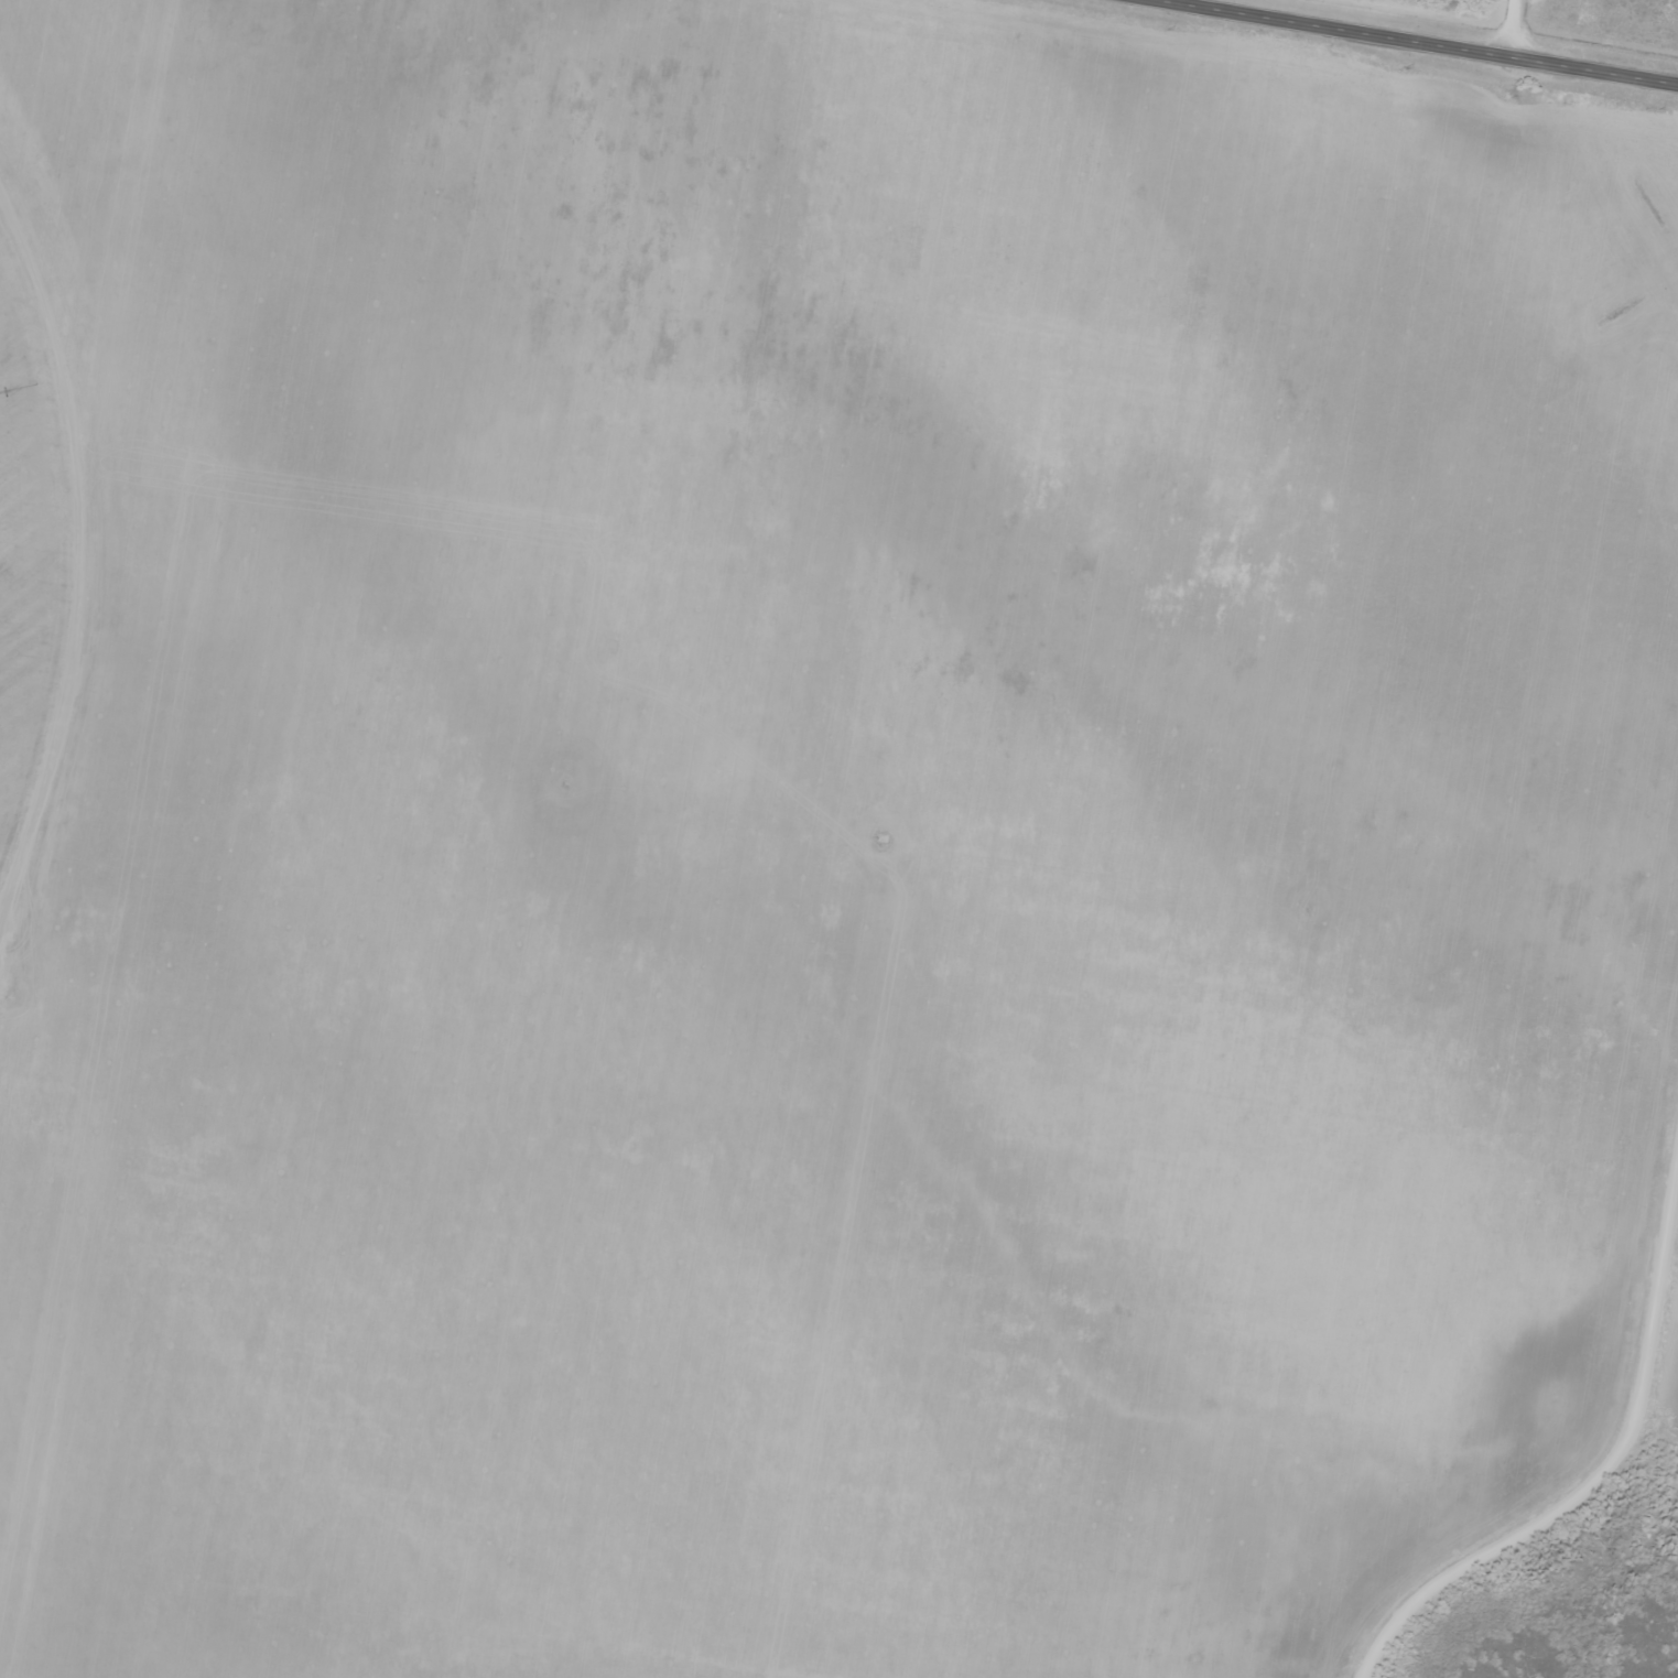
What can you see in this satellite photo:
road: (1515, 29)
road: (1418, 43)
road: (1599, 1475)

